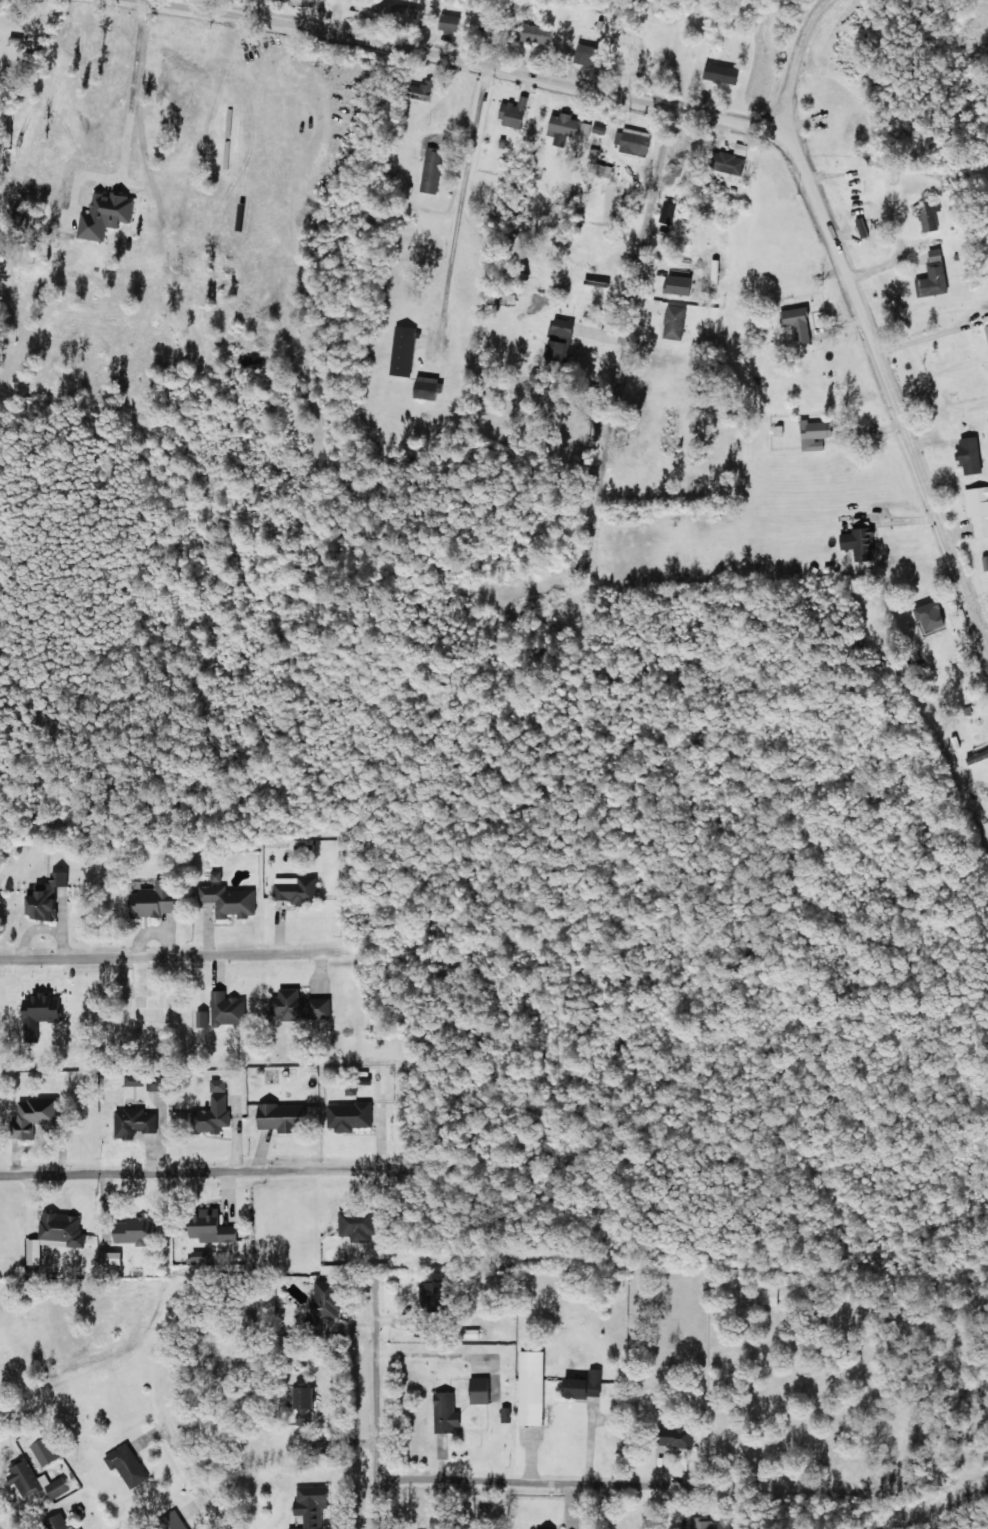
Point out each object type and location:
building: (399, 10)
building: (447, 22)
building: (536, 33)
building: (583, 54)
road: (799, 61)
road: (398, 62)
building: (719, 73)
building: (421, 91)
building: (512, 113)
building: (566, 125)
building: (633, 141)
building: (739, 148)
building: (726, 162)
building: (429, 170)
road: (459, 211)
building: (666, 212)
building: (108, 214)
building: (928, 215)
building: (933, 254)
building: (932, 281)
building: (677, 284)
road: (635, 291)
building: (673, 321)
building: (795, 323)
building: (985, 326)
building: (557, 338)
building: (402, 351)
road: (883, 383)
building: (426, 388)
building: (777, 430)
building: (812, 434)
building: (967, 455)
building: (977, 509)
building: (857, 542)
building: (985, 562)
building: (930, 610)
building: (214, 876)
building: (294, 890)
building: (41, 897)
building: (153, 899)
building: (229, 901)
building: (297, 1004)
building: (225, 1010)
building: (38, 1013)
building: (201, 1019)
building: (151, 1084)
building: (216, 1085)
building: (32, 1115)
building: (348, 1115)
building: (210, 1116)
building: (279, 1117)
building: (132, 1121)
building: (206, 1226)
building: (354, 1226)
building: (61, 1228)
building: (132, 1230)
building: (31, 1251)
building: (198, 1257)
building: (428, 1286)
road: (276, 1288)
building: (321, 1303)
building: (581, 1386)
building: (529, 1388)
building: (477, 1390)
road: (347, 1408)
building: (444, 1413)
building: (671, 1438)
road: (110, 1442)
building: (46, 1451)
building: (129, 1464)
building: (28, 1478)
building: (58, 1487)
building: (309, 1506)
road: (627, 1510)
building: (176, 1520)
building: (61, 1522)
building: (710, 1524)

